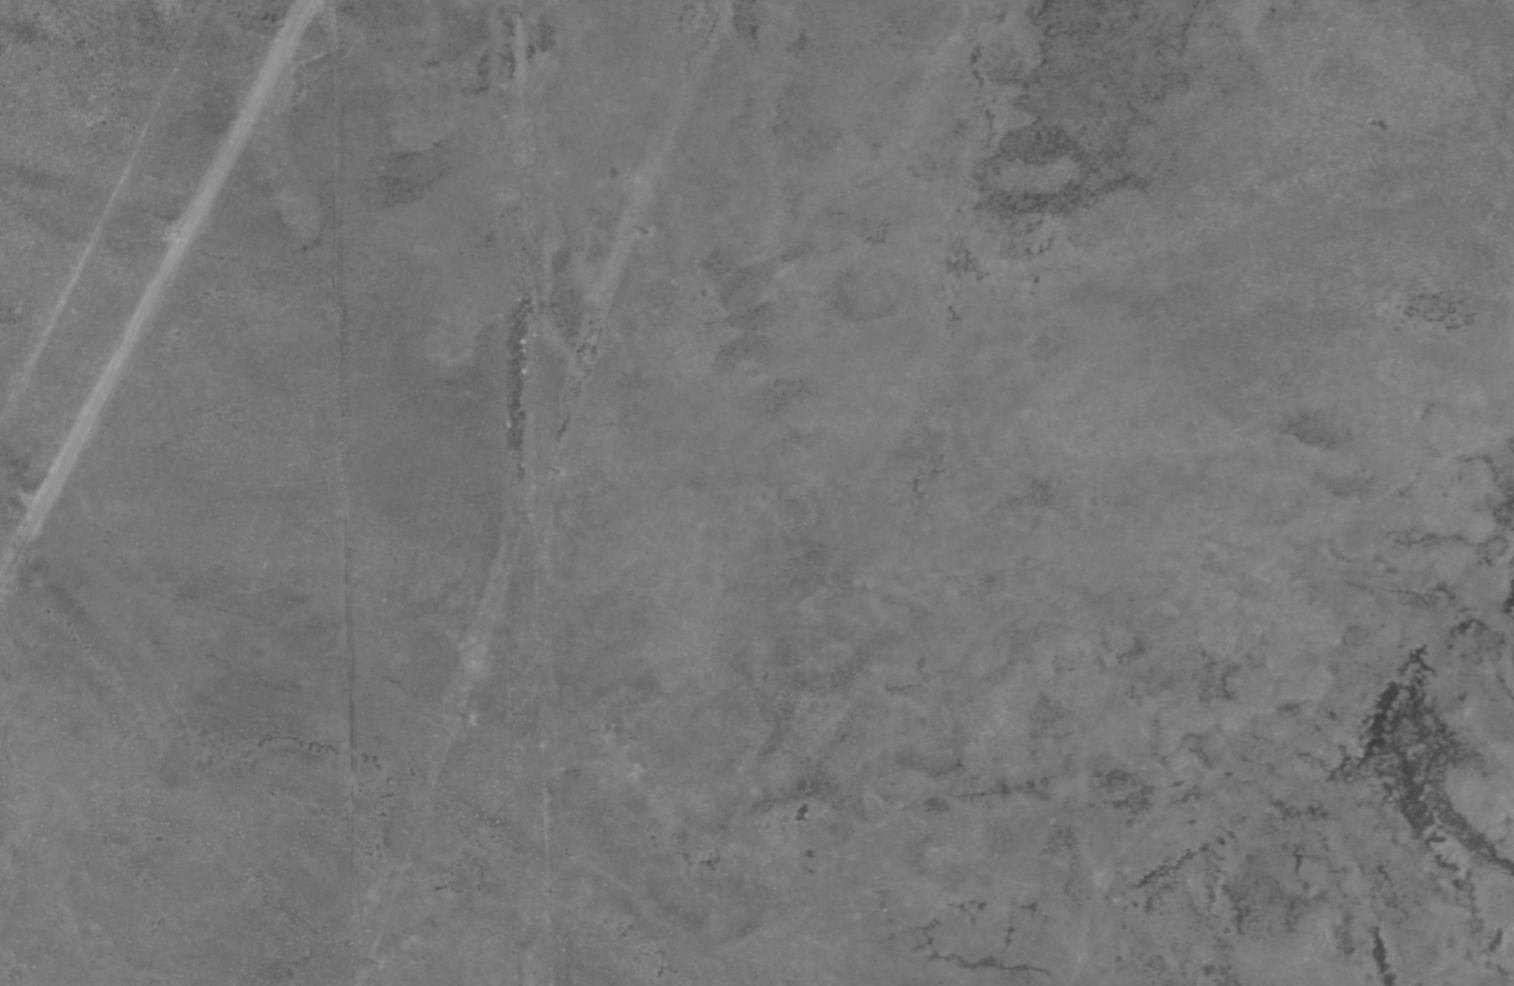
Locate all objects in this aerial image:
road: (155, 293)
road: (334, 493)

